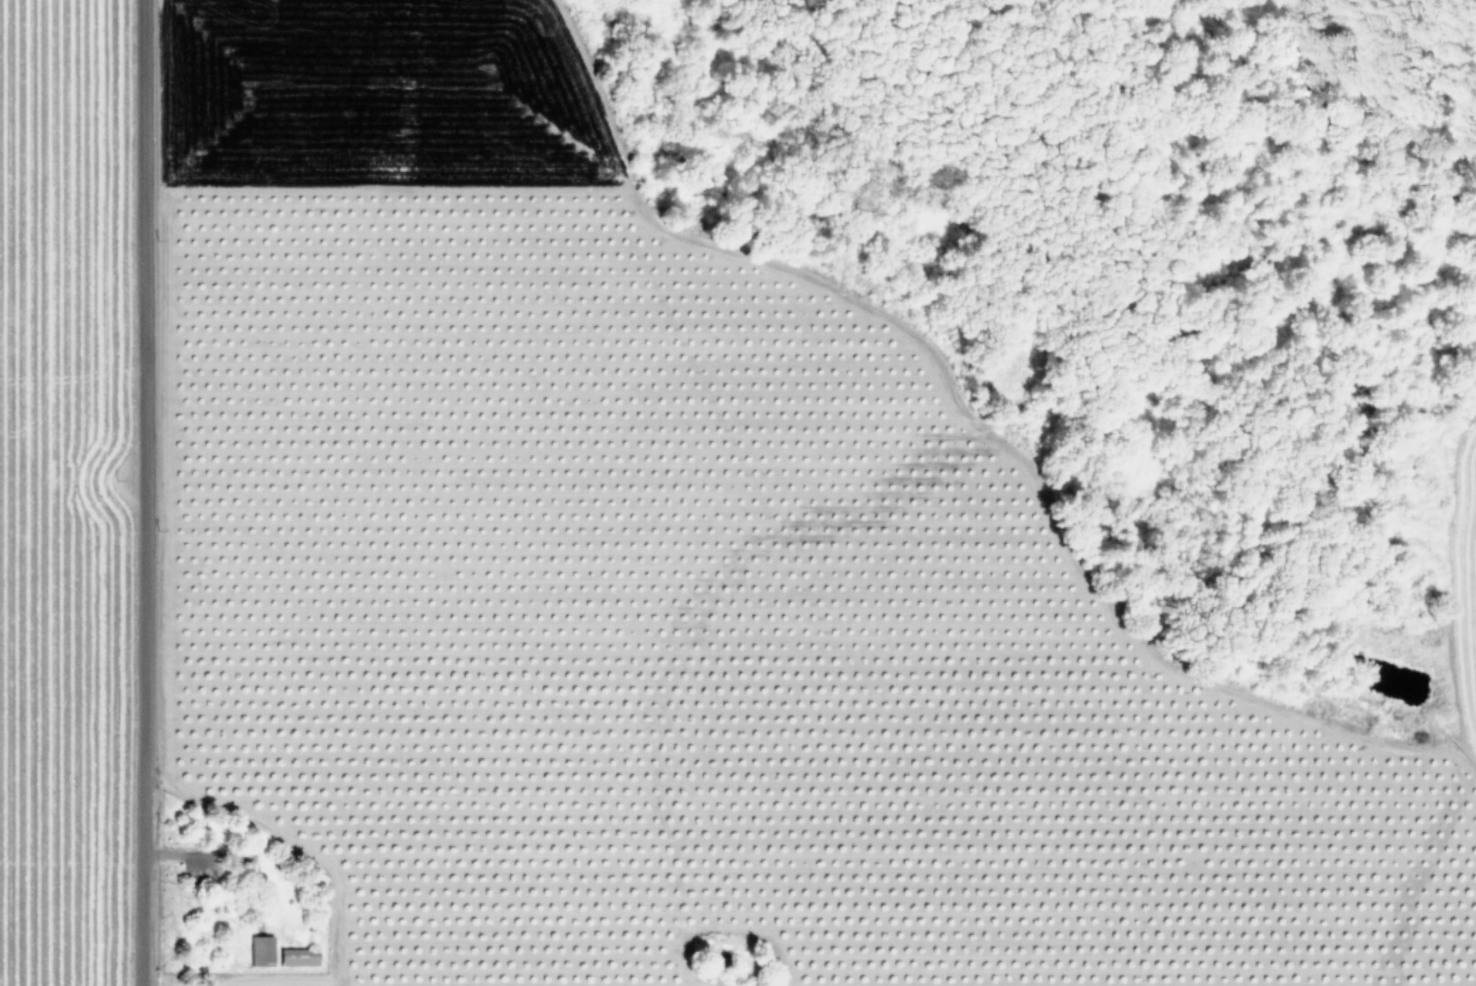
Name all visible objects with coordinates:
river: (1289, 122)
road: (143, 493)
crop: (523, 558)
building: (299, 957)

